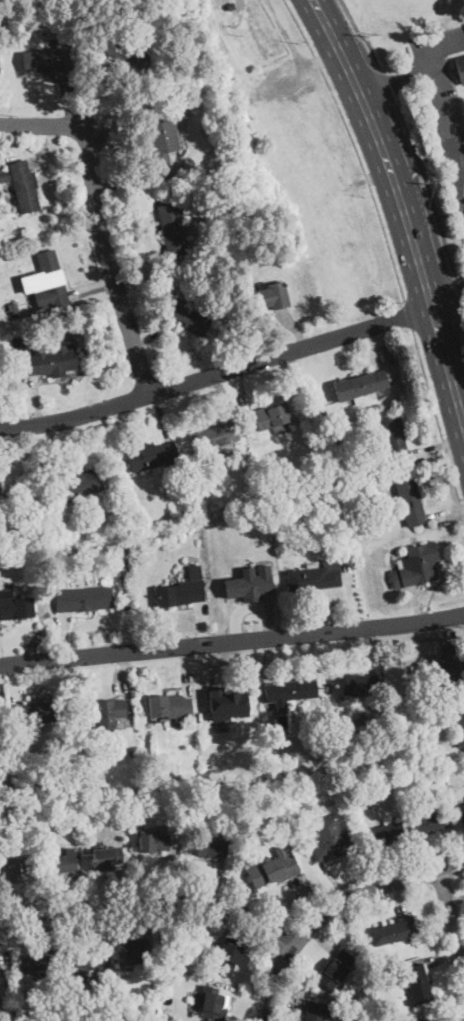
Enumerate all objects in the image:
road: (361, 35)
building: (127, 55)
building: (44, 61)
building: (460, 69)
road: (395, 79)
road: (391, 83)
parking lot: (444, 100)
road: (439, 102)
building: (241, 106)
building: (237, 119)
building: (209, 129)
building: (163, 140)
road: (353, 145)
building: (210, 177)
building: (23, 185)
road: (427, 189)
road: (401, 205)
road: (97, 219)
building: (172, 229)
road: (460, 278)
building: (50, 282)
road: (460, 290)
building: (270, 295)
road: (448, 303)
building: (14, 308)
road: (407, 314)
building: (191, 316)
road: (463, 328)
building: (18, 345)
building: (50, 362)
road: (217, 374)
building: (360, 385)
building: (273, 417)
road: (438, 423)
building: (215, 437)
building: (395, 439)
building: (337, 440)
building: (153, 457)
building: (337, 469)
building: (0, 478)
building: (74, 484)
building: (278, 494)
building: (410, 501)
building: (139, 523)
building: (402, 523)
building: (104, 524)
building: (355, 551)
building: (416, 566)
building: (315, 576)
building: (248, 586)
building: (182, 590)
building: (84, 599)
building: (16, 608)
road: (232, 641)
building: (437, 652)
building: (453, 668)
building: (356, 685)
building: (422, 688)
building: (290, 692)
building: (222, 696)
building: (170, 707)
building: (110, 712)
building: (36, 713)
building: (2, 726)
building: (460, 727)
building: (97, 753)
building: (132, 754)
building: (381, 776)
building: (383, 783)
building: (189, 785)
building: (279, 796)
building: (138, 806)
building: (461, 813)
building: (429, 822)
building: (385, 835)
building: (331, 839)
building: (153, 842)
building: (206, 847)
building: (106, 857)
building: (58, 864)
building: (273, 870)
building: (9, 872)
road: (369, 876)
road: (152, 900)
road: (334, 907)
road: (142, 912)
road: (451, 917)
building: (394, 931)
road: (283, 936)
building: (132, 952)
building: (226, 960)
building: (34, 964)
building: (82, 966)
building: (336, 970)
road: (260, 980)
building: (415, 983)
building: (211, 1006)
building: (317, 1012)
building: (122, 1014)
building: (417, 1020)

